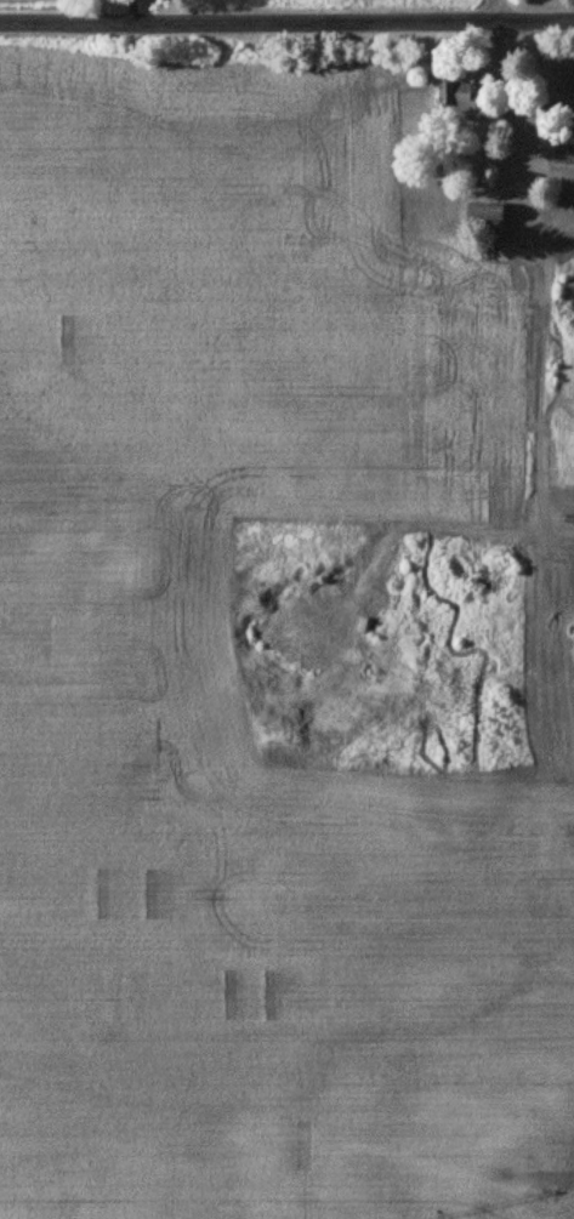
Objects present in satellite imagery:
road: (504, 12)
road: (286, 27)
building: (462, 98)
building: (564, 153)
building: (490, 211)

